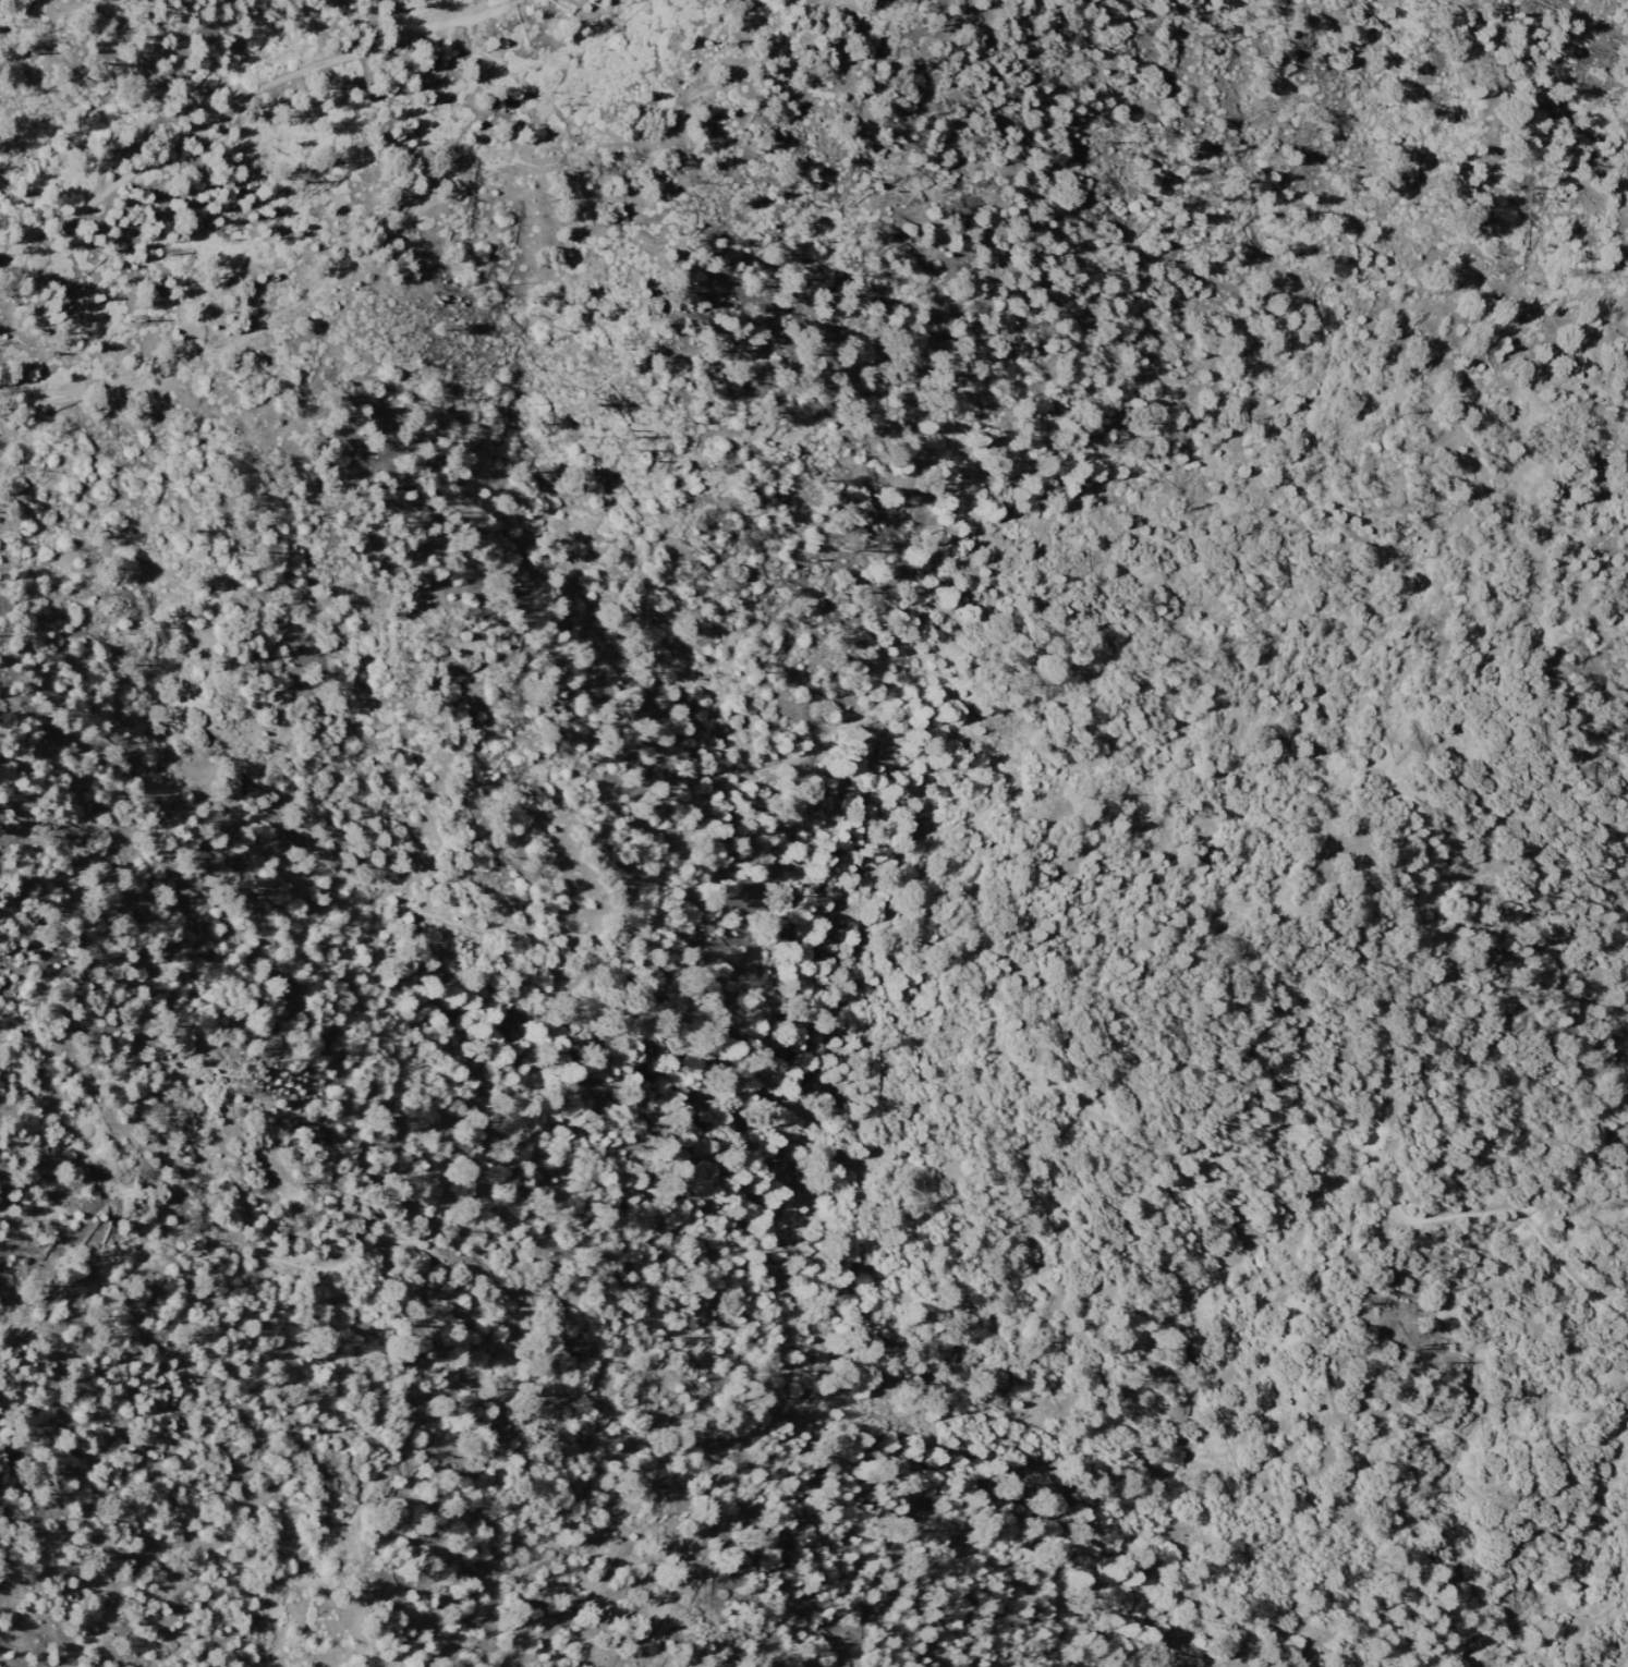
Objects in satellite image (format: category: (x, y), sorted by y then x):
road: (245, 94)
road: (707, 783)

